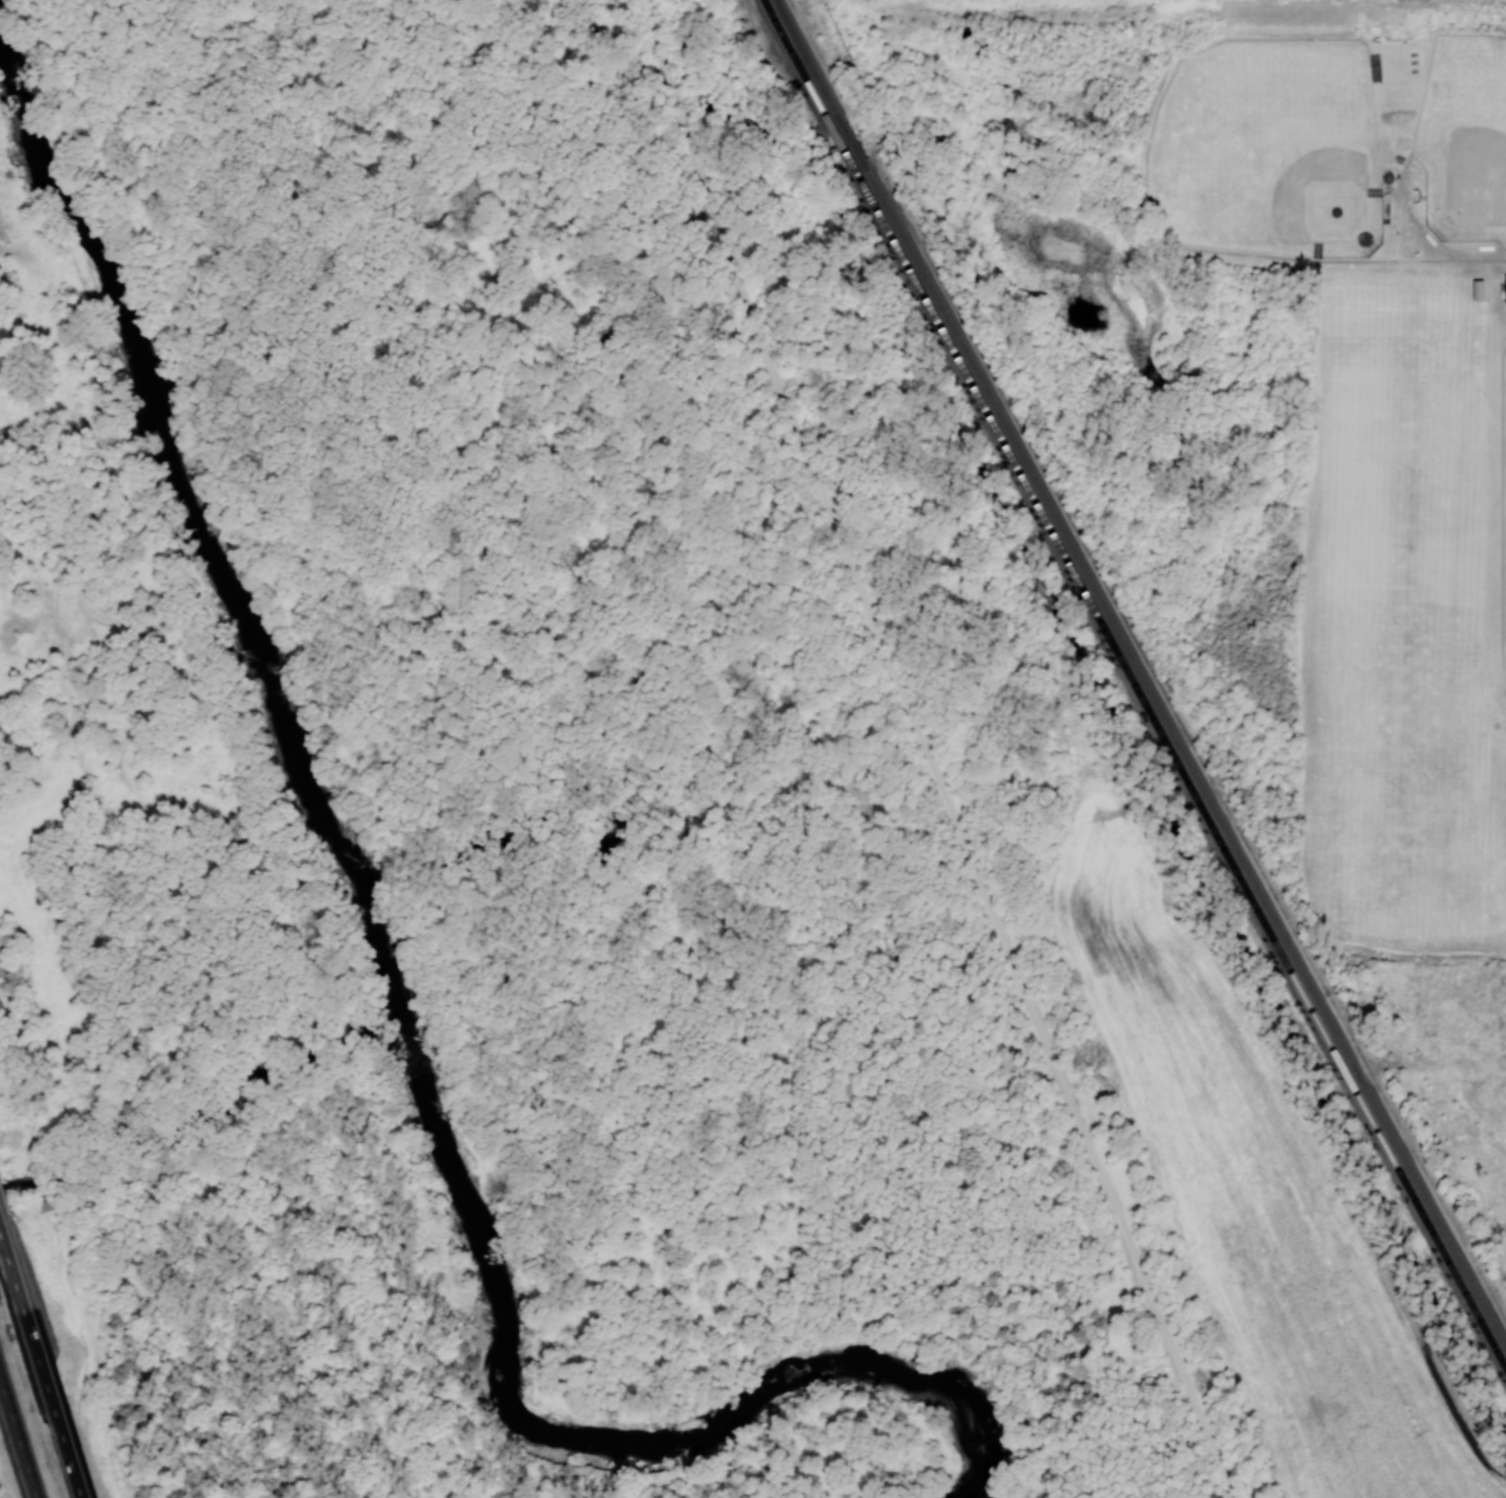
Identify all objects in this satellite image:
road: (651, 18)
railway: (795, 59)
railway: (811, 60)
road: (672, 86)
road: (400, 131)
park: (1465, 138)
park: (1270, 149)
railway: (845, 152)
railway: (861, 155)
road: (527, 198)
building: (1478, 289)
building: (1501, 293)
park: (1407, 384)
park: (1220, 608)
park: (1398, 666)
park: (1502, 747)
road: (78, 752)
railway: (1193, 763)
park: (514, 774)
railway: (1183, 778)
road: (953, 819)
road: (680, 826)
park: (1397, 860)
river: (383, 991)
road: (196, 1063)
road: (229, 1078)
road: (255, 1094)
road: (276, 1116)
road: (242, 1328)
road: (40, 1367)
road: (15, 1446)

